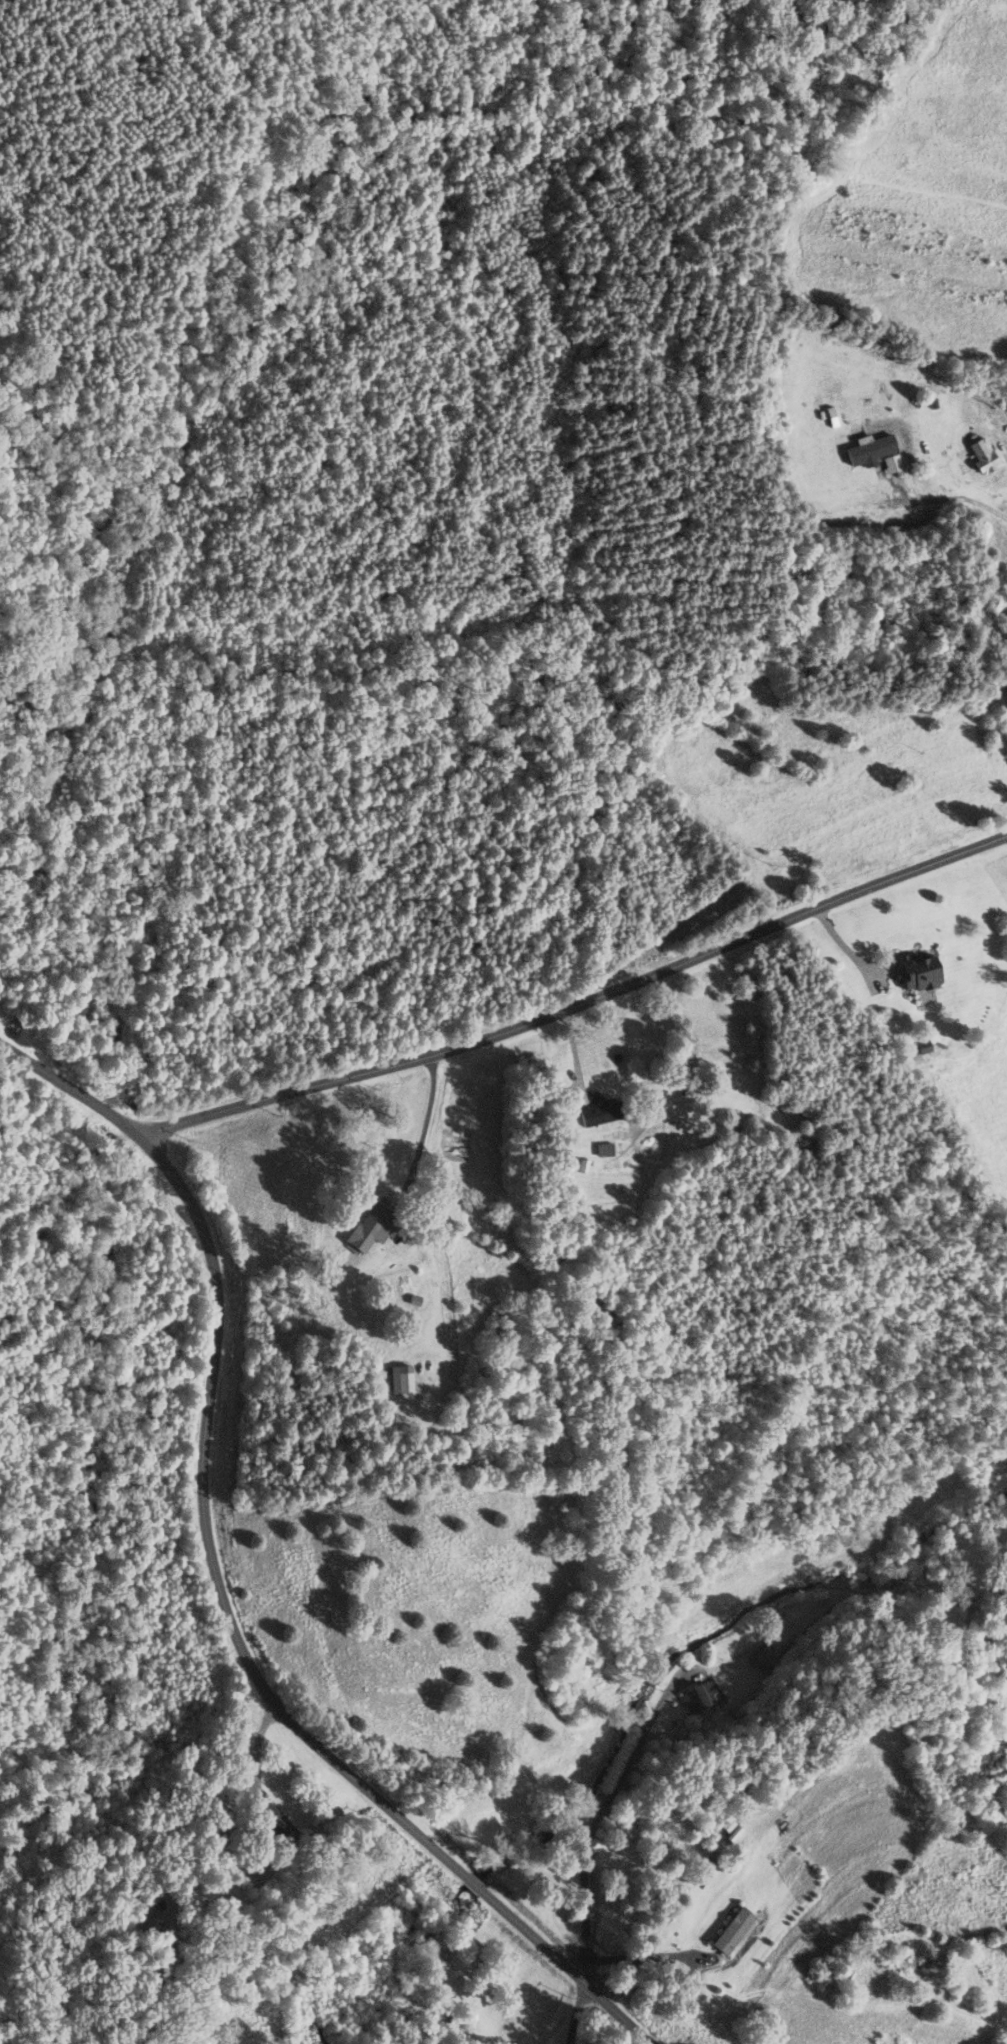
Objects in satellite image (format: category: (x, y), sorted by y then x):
building: (983, 453)
road: (948, 498)
building: (989, 596)
road: (480, 896)
building: (917, 971)
road: (581, 1000)
road: (73, 1083)
building: (599, 1111)
building: (603, 1148)
building: (367, 1228)
building: (399, 1379)
building: (761, 1658)
road: (254, 1668)
building: (699, 1695)
road: (255, 1743)
road: (600, 1815)
building: (274, 1824)
road: (840, 1869)
building: (732, 1931)
building: (909, 1966)
road: (576, 2010)

